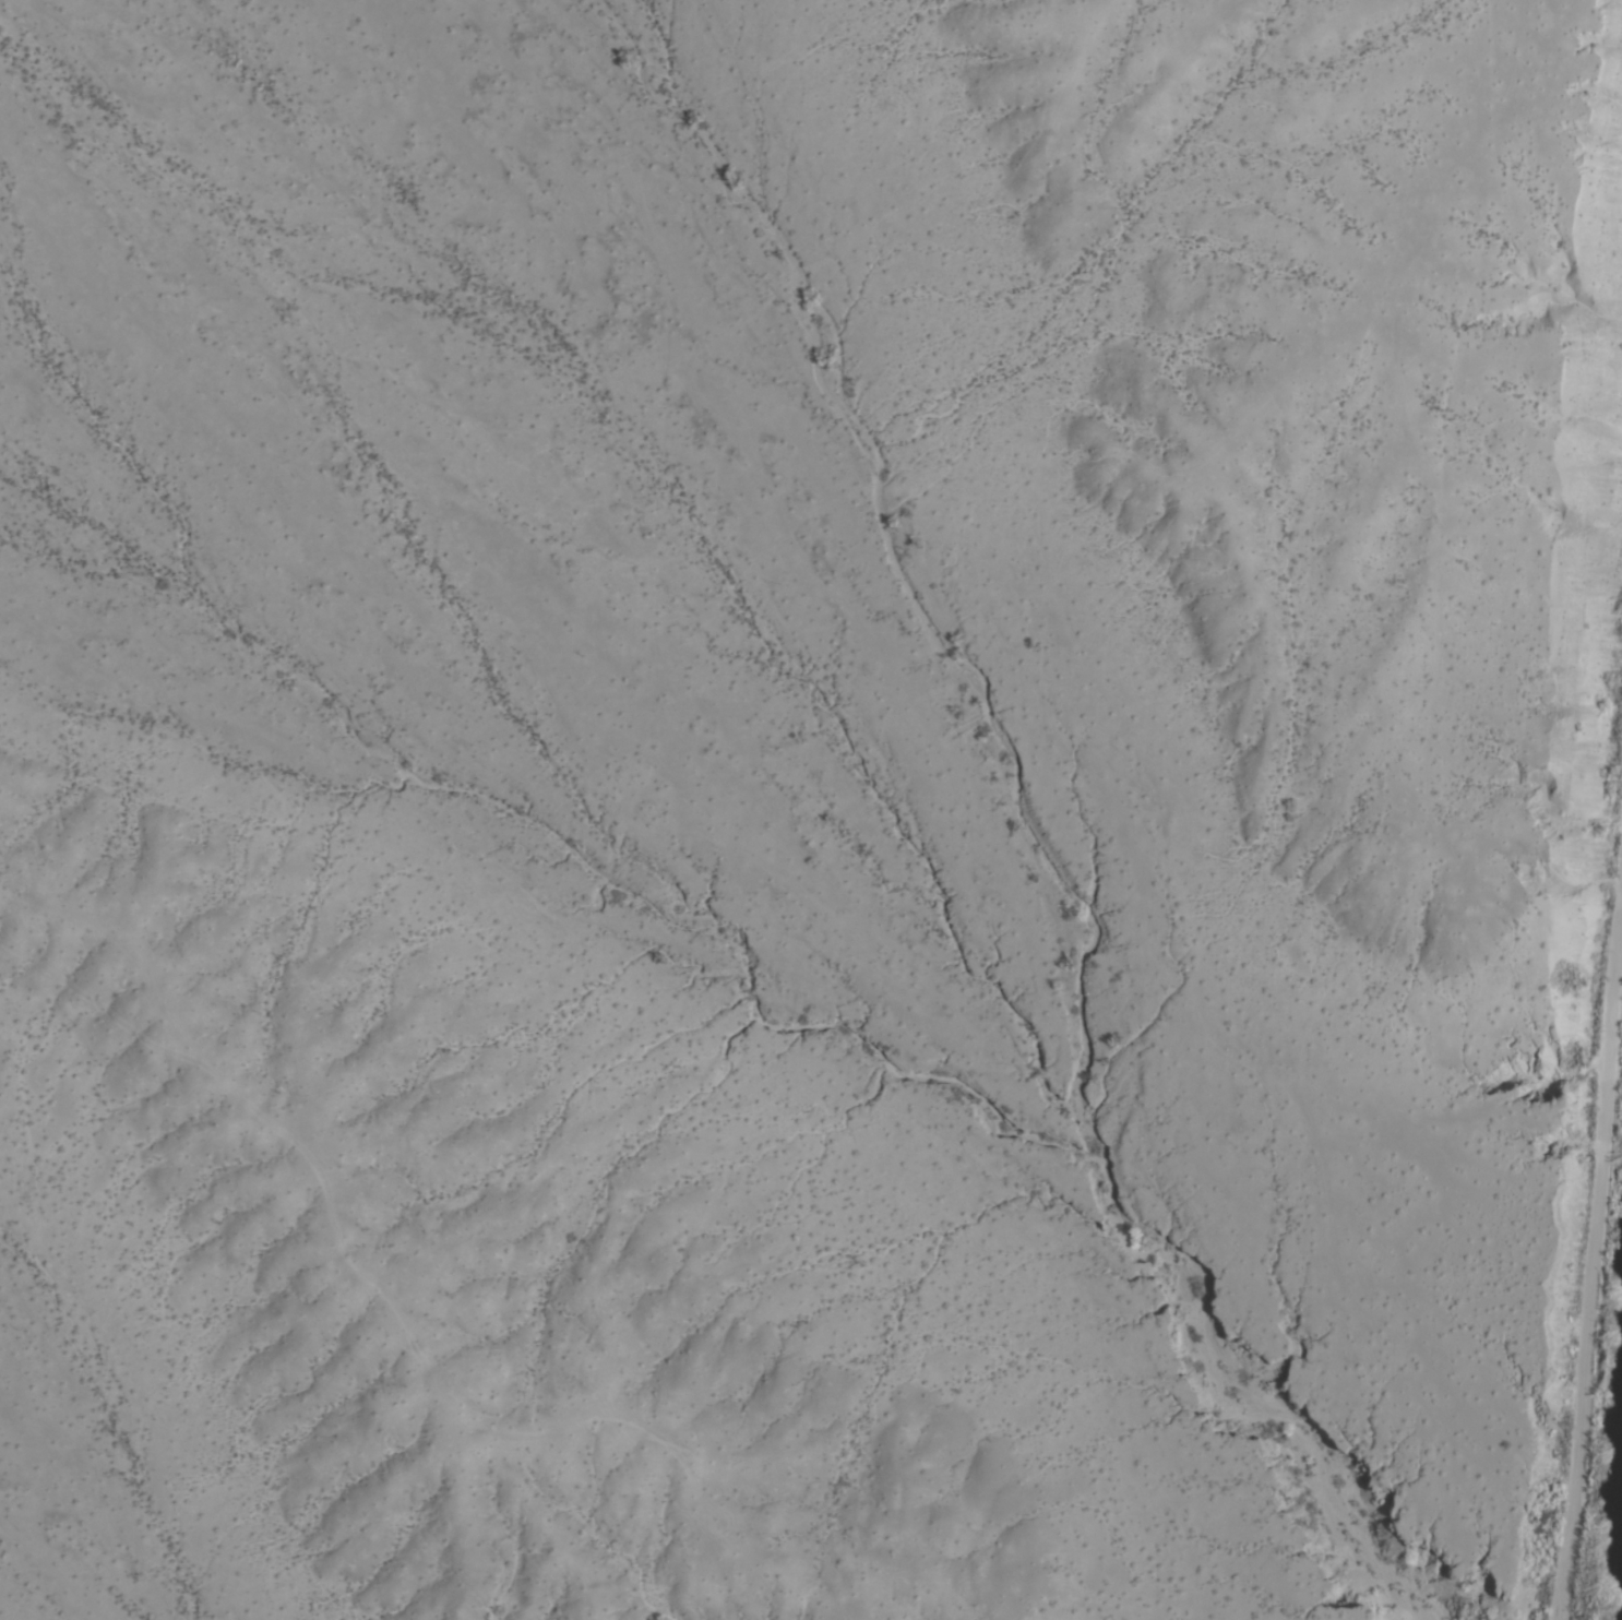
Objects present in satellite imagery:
road: (1522, 849)
road: (1477, 1613)

